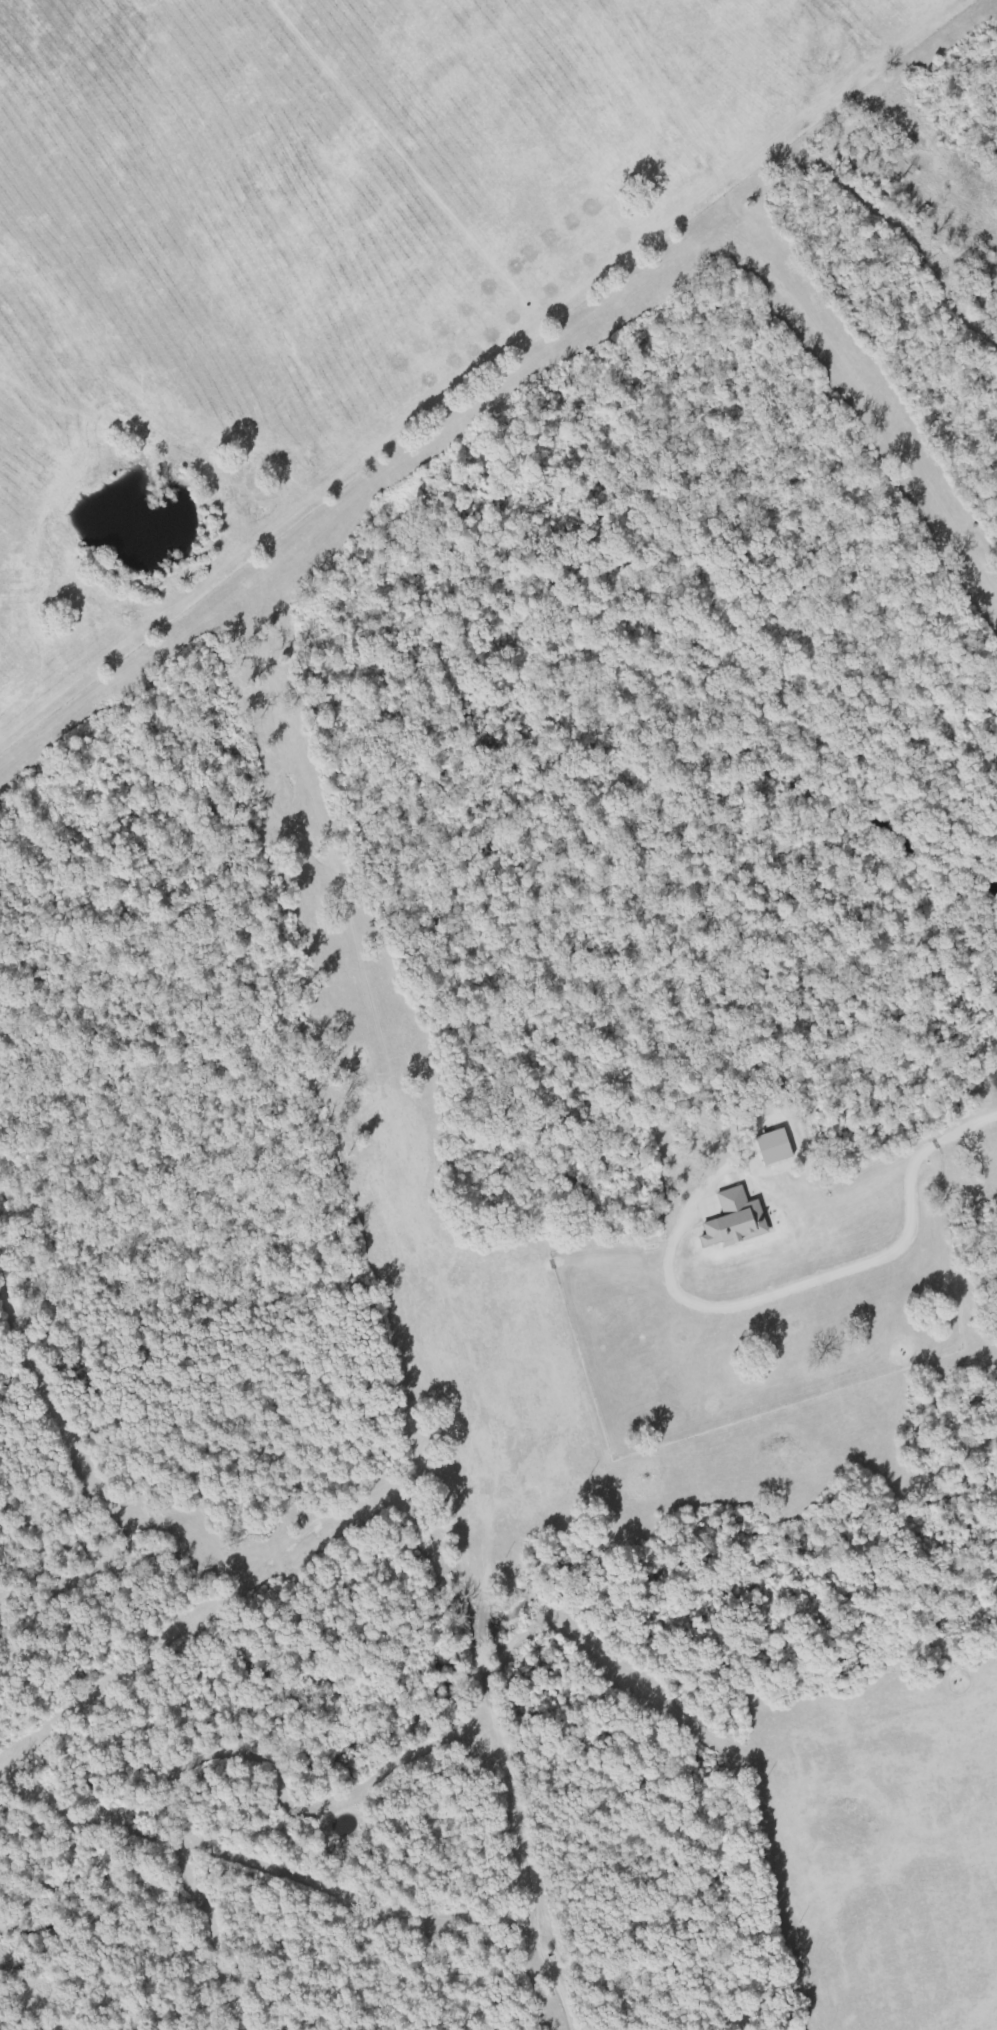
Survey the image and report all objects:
road: (346, 957)
building: (775, 1148)
road: (925, 1874)

